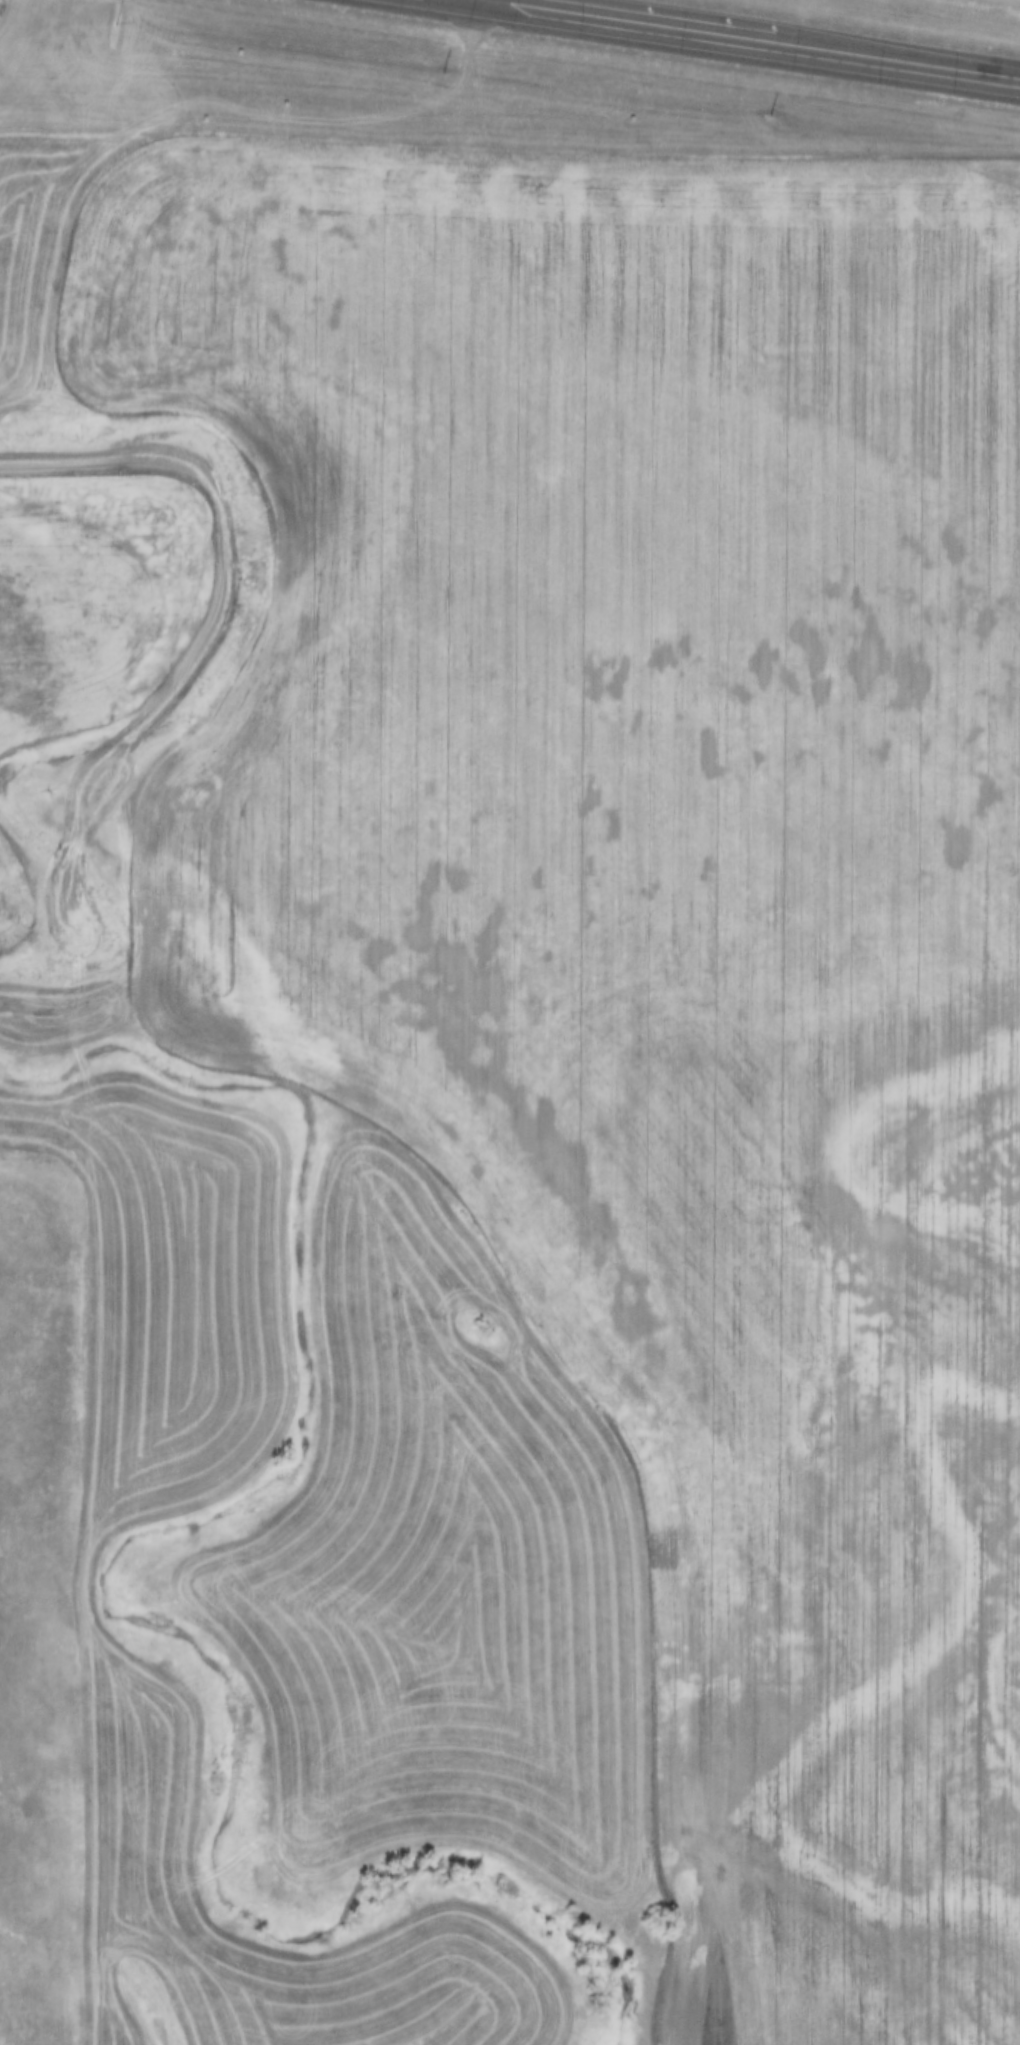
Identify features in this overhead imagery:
road: (477, 2)
road: (731, 42)

